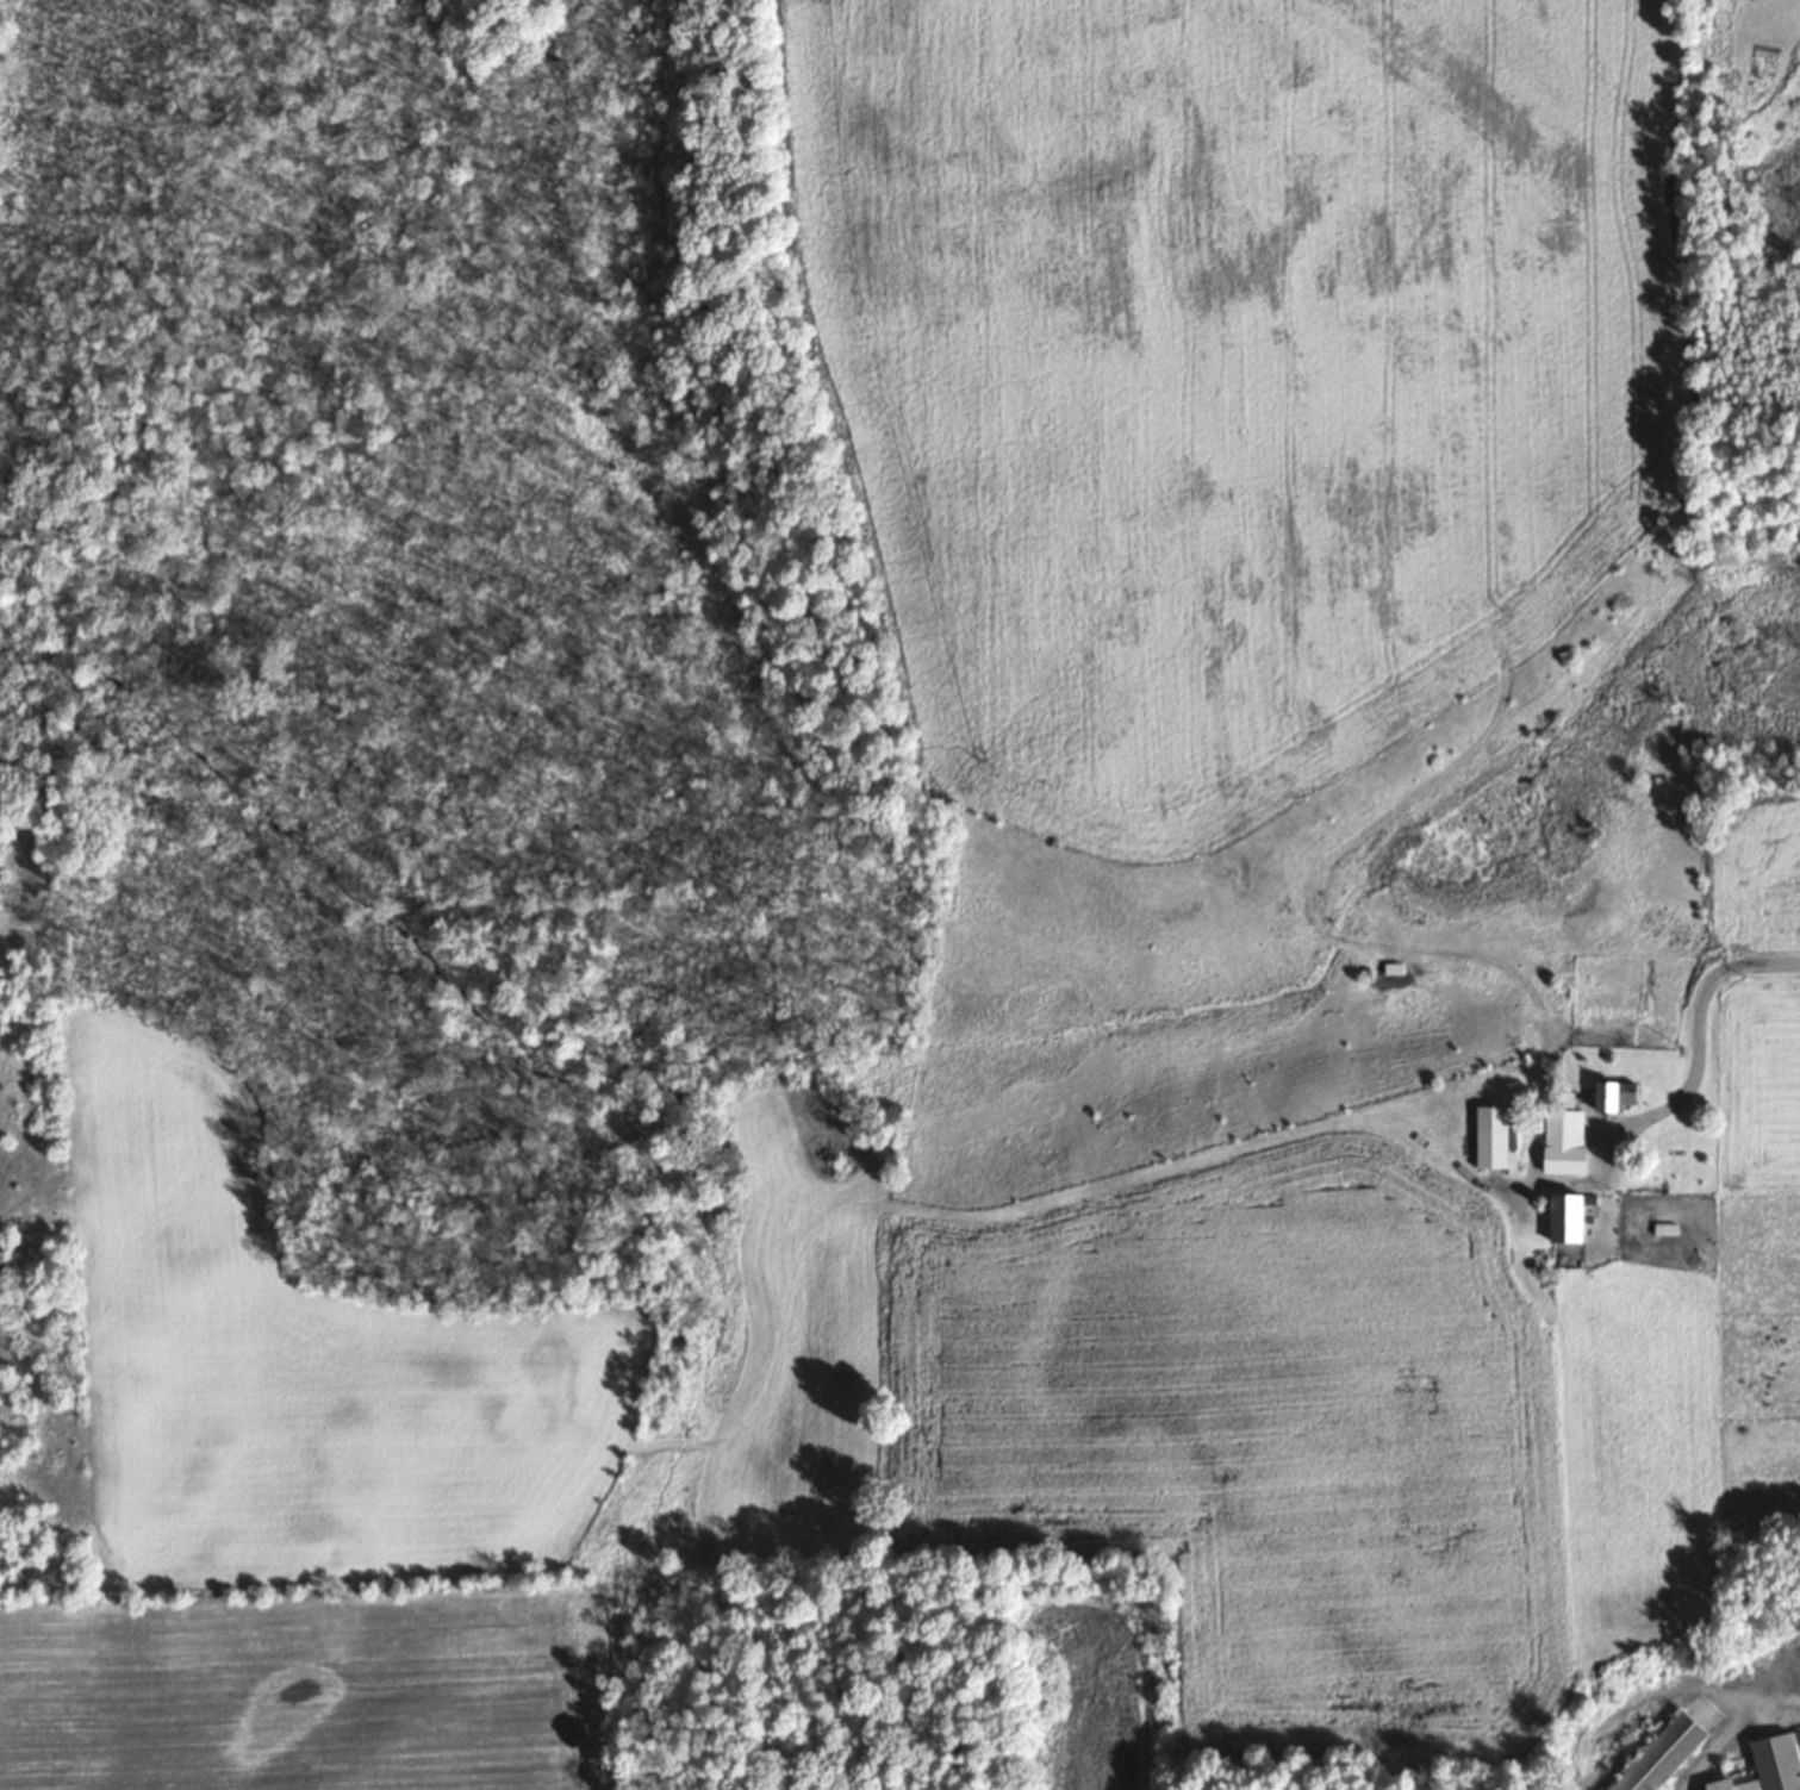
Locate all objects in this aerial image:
road: (1713, 977)
building: (1609, 1096)
building: (1487, 1136)
building: (1559, 1140)
building: (1558, 1218)
building: (1656, 1754)
building: (1765, 1765)

